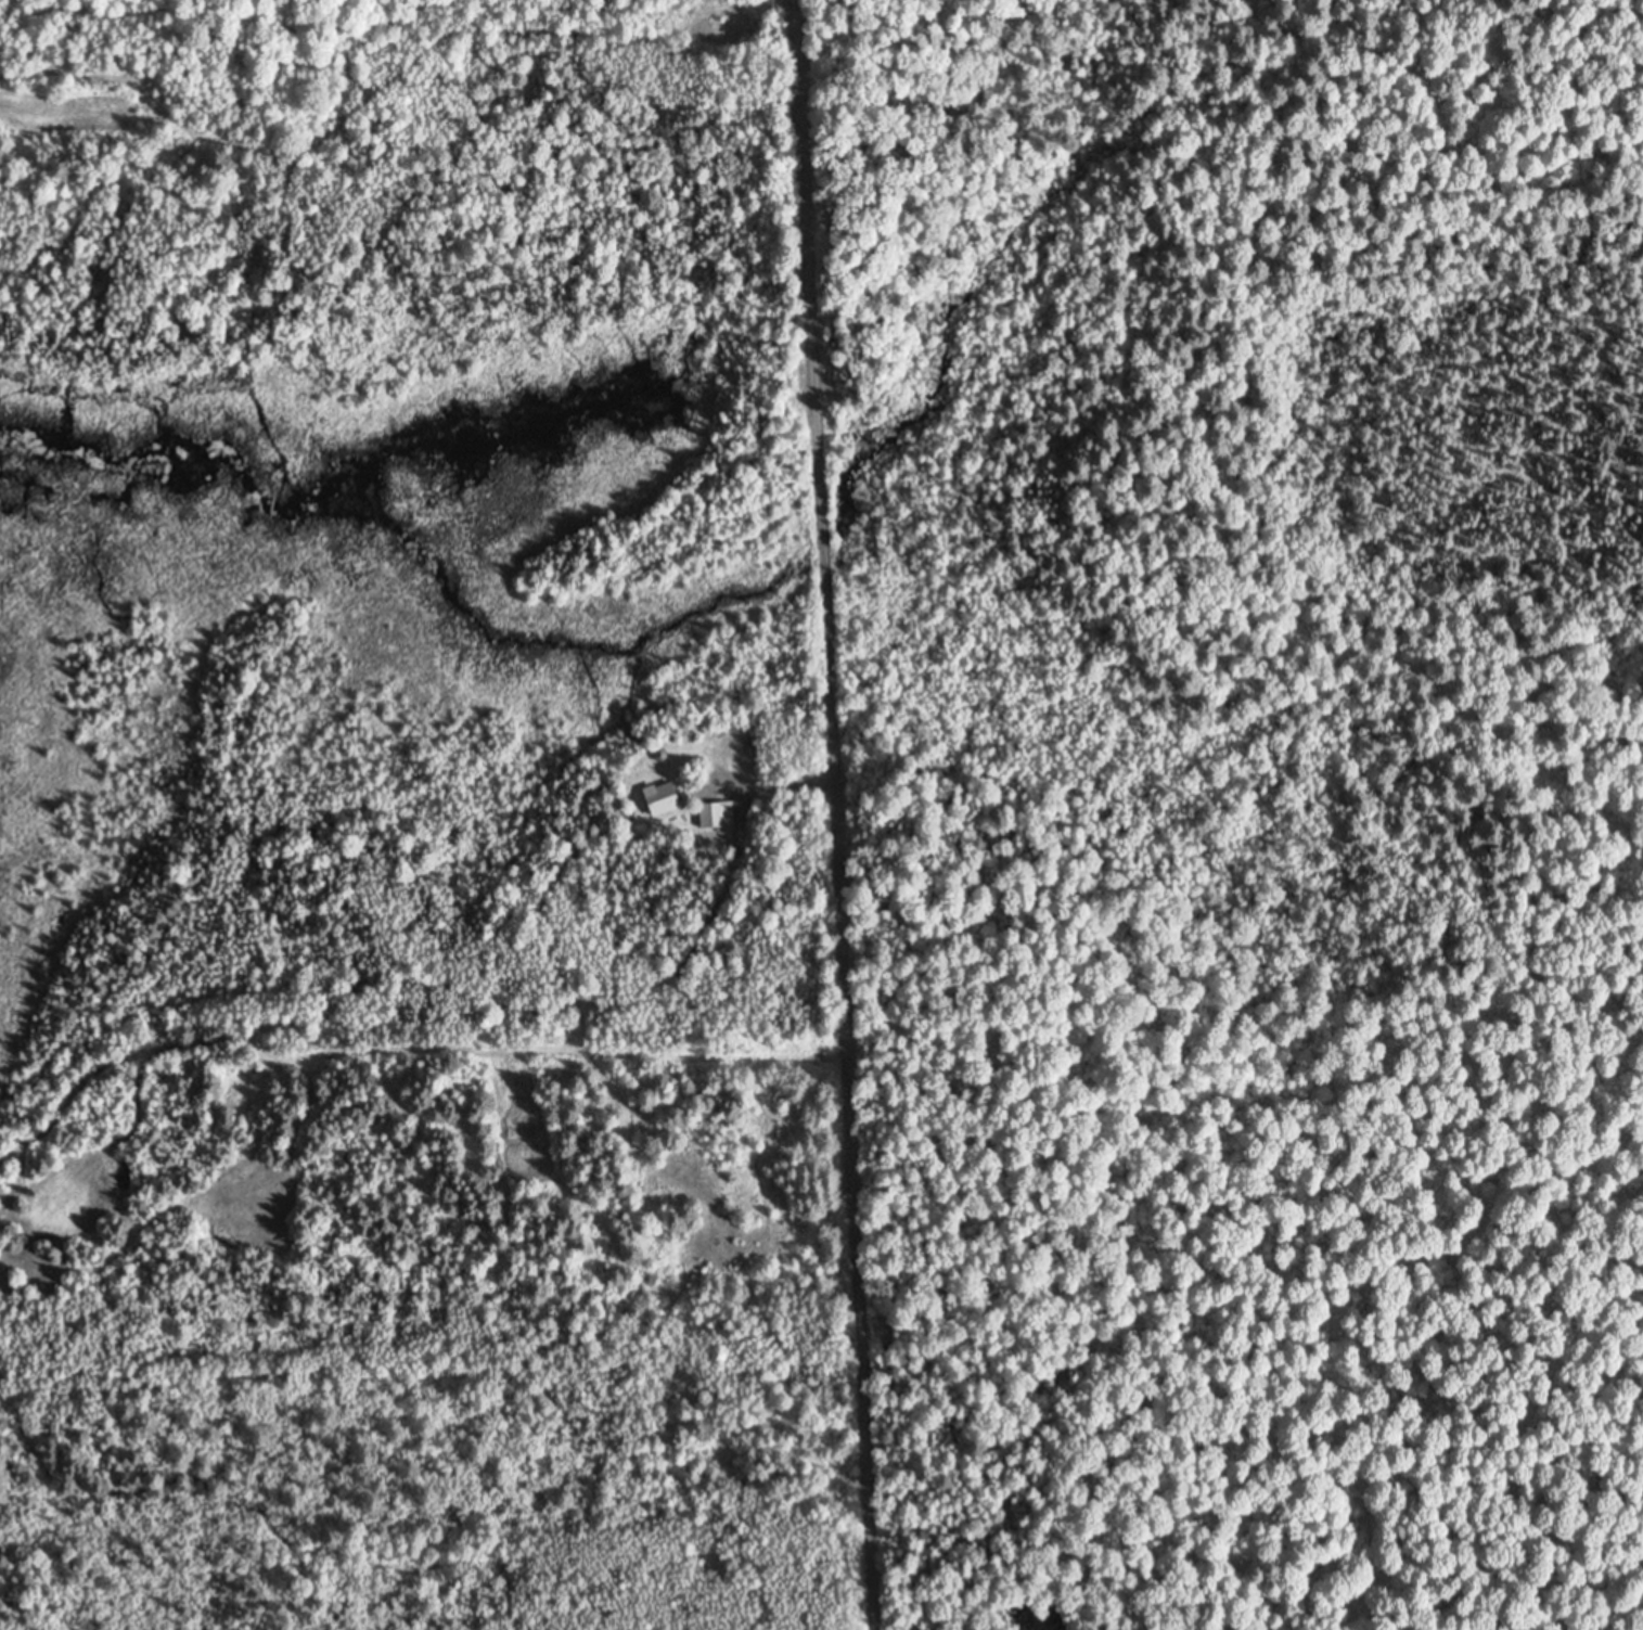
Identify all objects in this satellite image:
road: (781, 784)
building: (666, 796)
building: (717, 813)
road: (833, 814)

